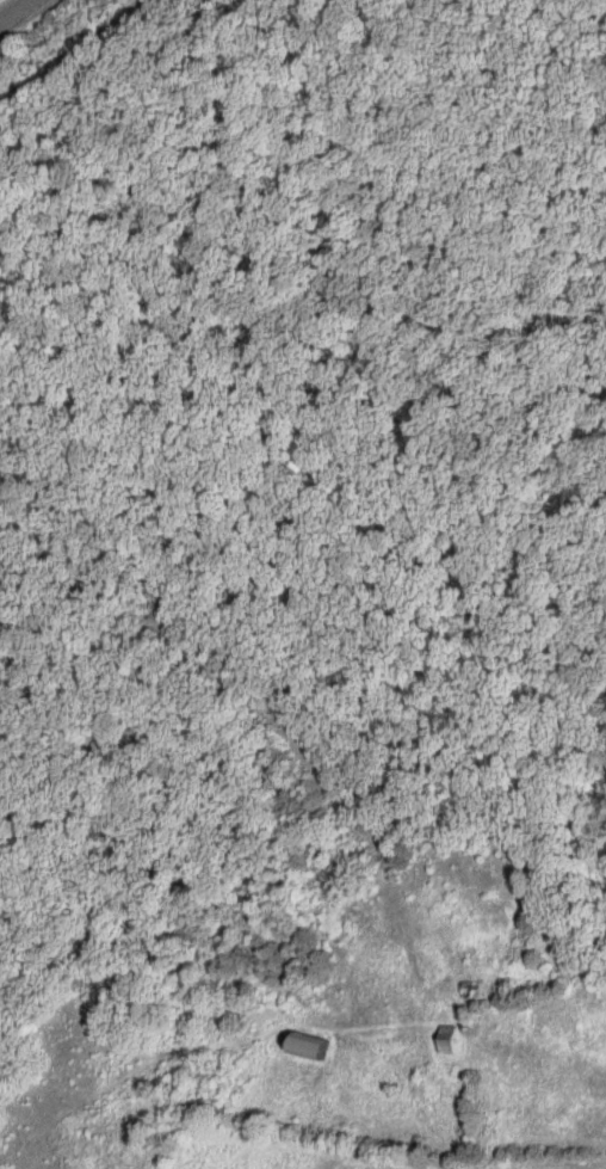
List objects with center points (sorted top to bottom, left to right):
road: (17, 12)
railway: (69, 55)
building: (451, 1041)

